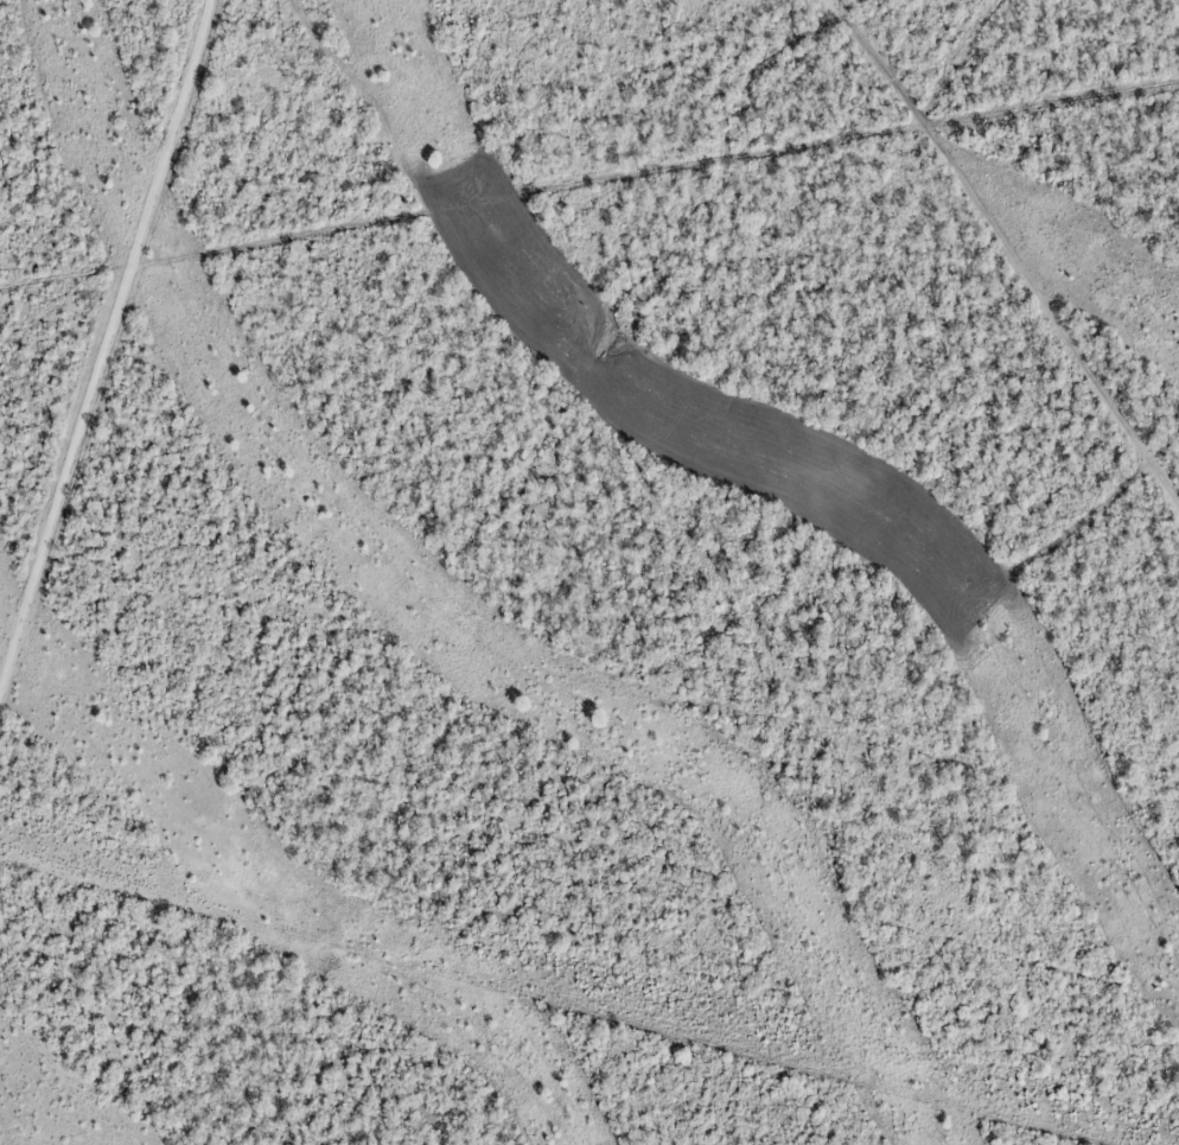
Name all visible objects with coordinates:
road: (1002, 172)

